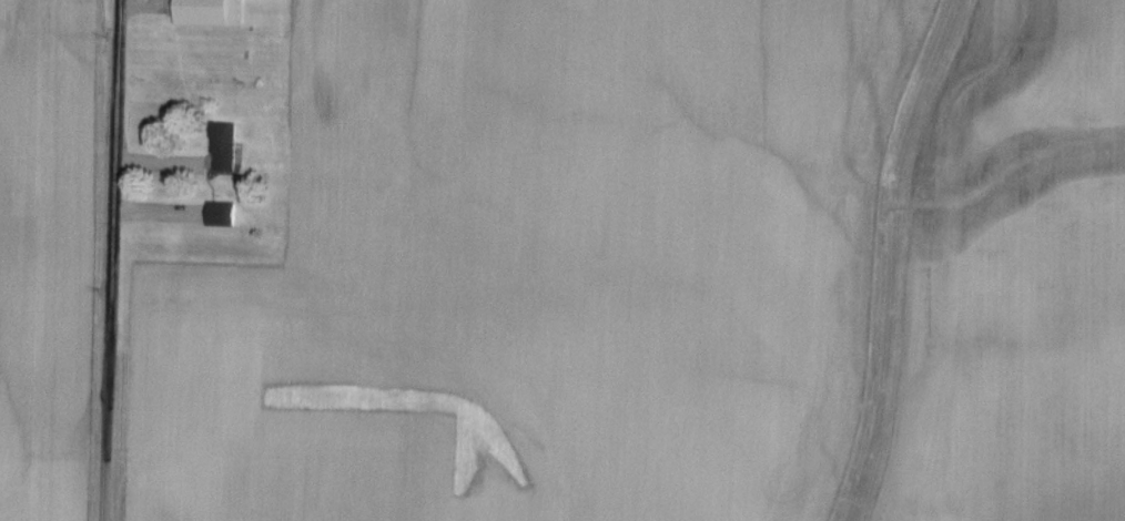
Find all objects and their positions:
building: (206, 13)
building: (227, 149)
building: (224, 216)
road: (104, 260)

